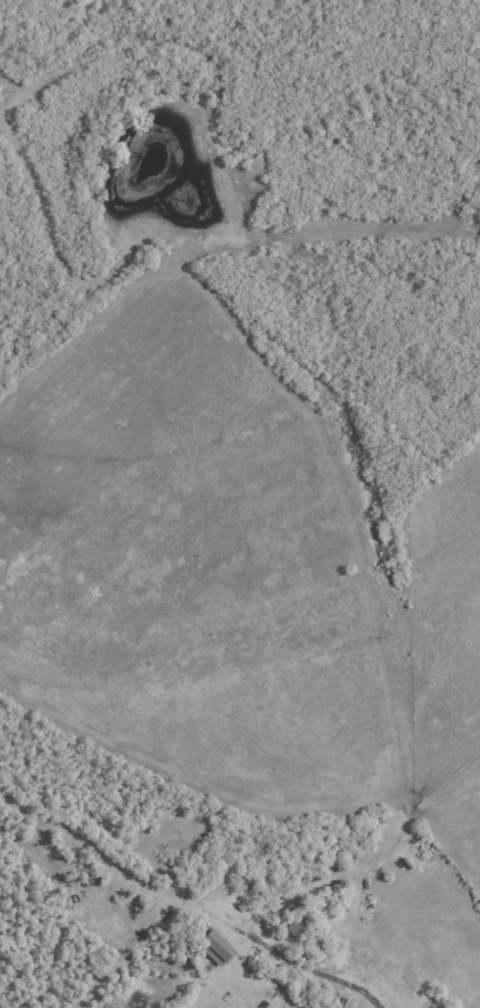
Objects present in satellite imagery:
building: (300, 926)
road: (311, 971)

